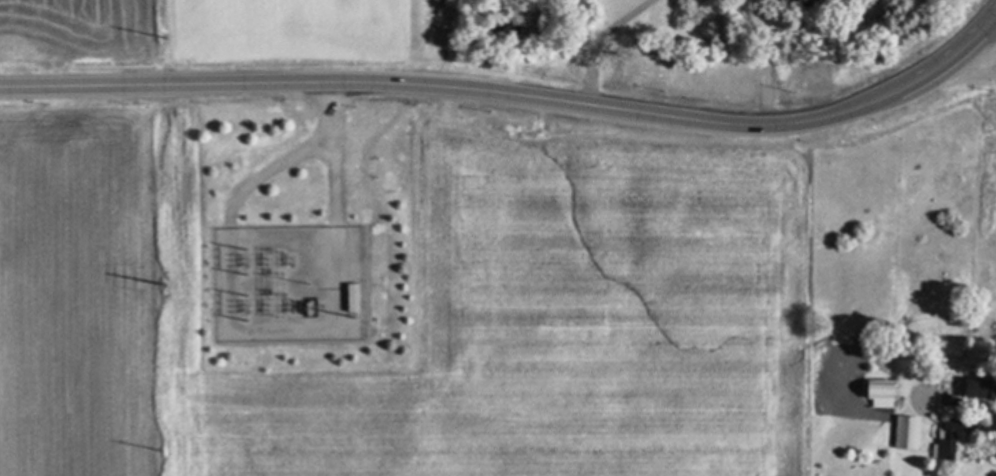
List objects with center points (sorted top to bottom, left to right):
building: (785, 4)
road: (599, 40)
road: (514, 94)
road: (330, 146)
road: (271, 168)
power substation: (290, 285)
building: (355, 298)
building: (971, 388)
building: (873, 392)
road: (981, 426)
building: (903, 432)
building: (945, 441)

